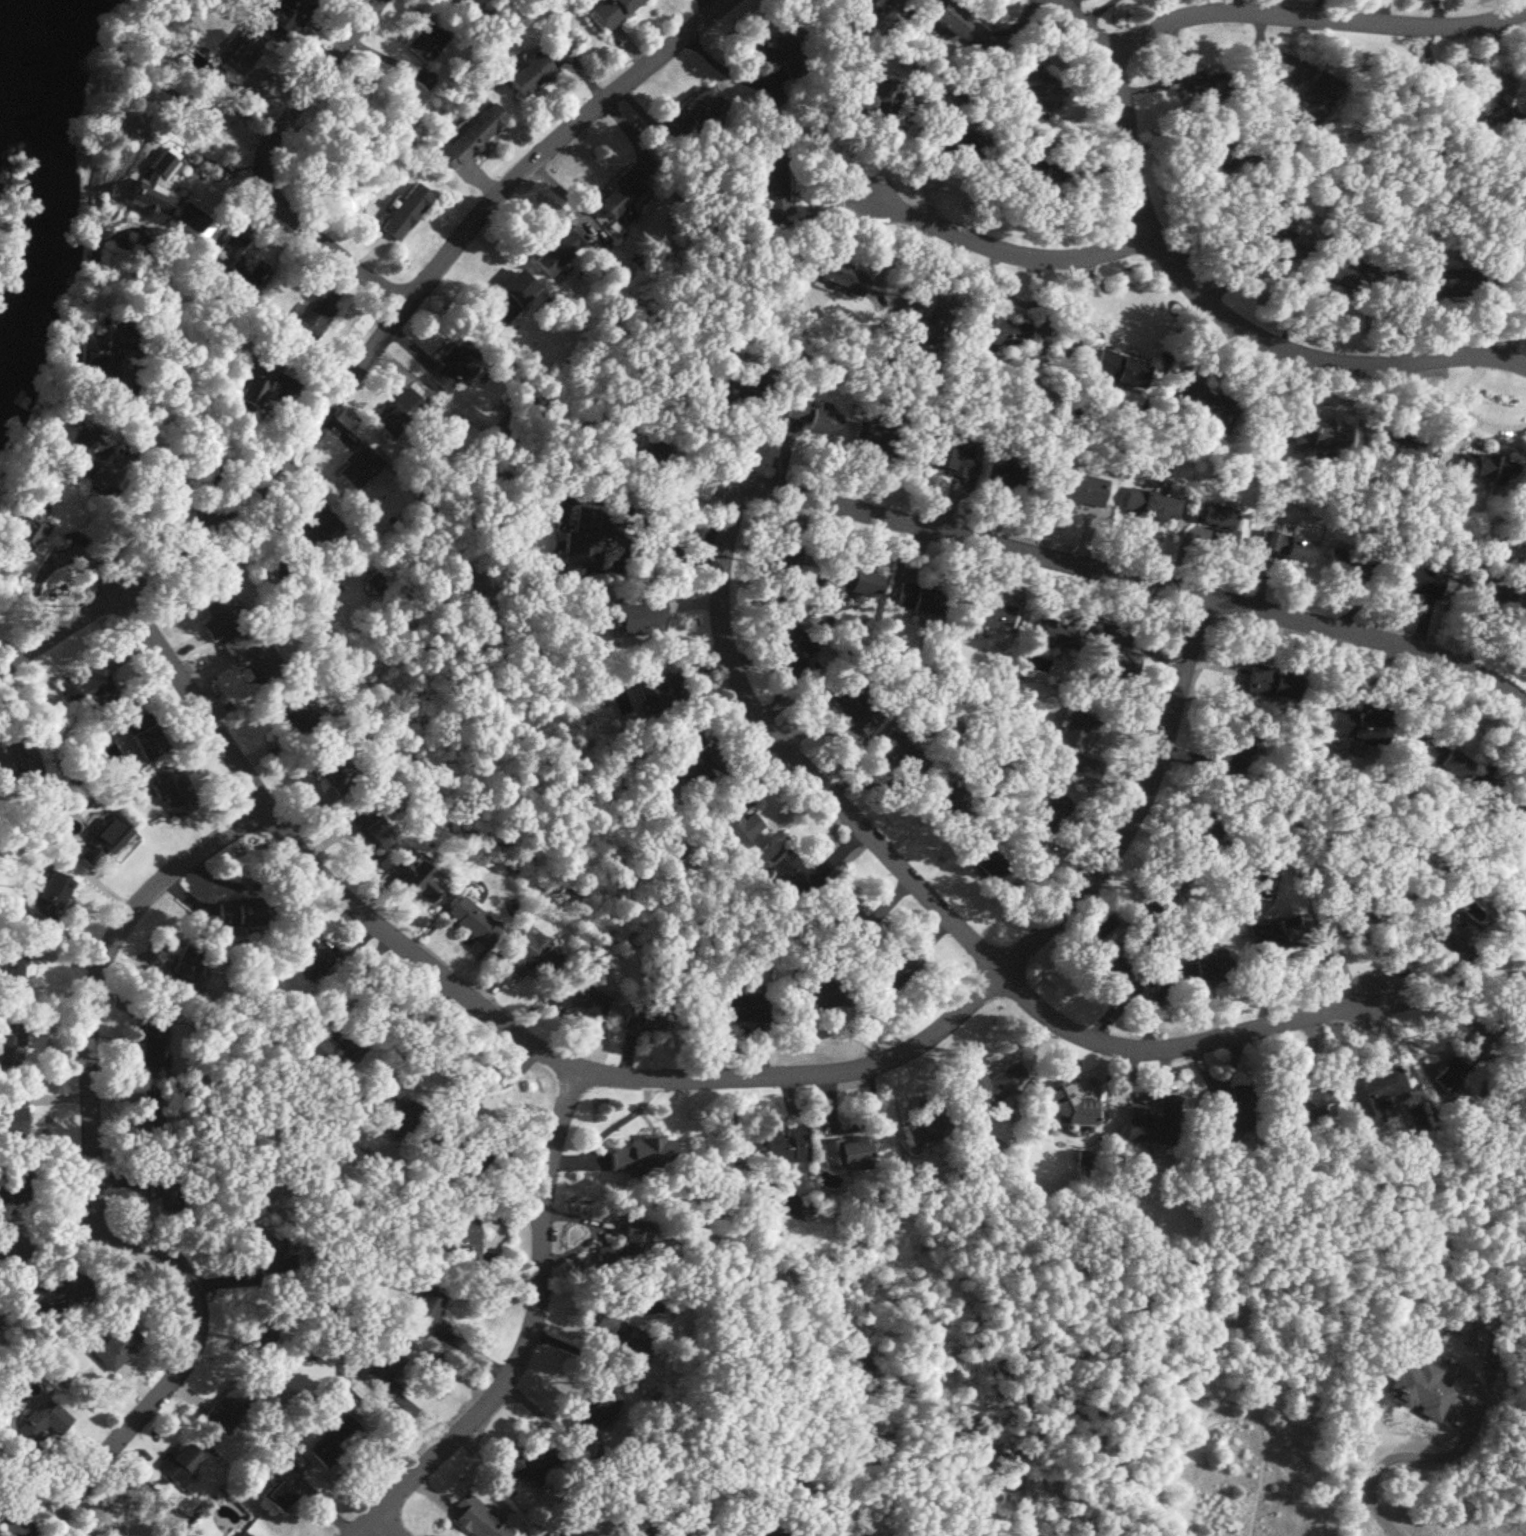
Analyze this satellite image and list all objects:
building: (871, 6)
building: (611, 11)
road: (1093, 12)
building: (284, 16)
road: (1315, 16)
building: (955, 25)
building: (425, 36)
river: (22, 37)
building: (780, 53)
building: (242, 57)
road: (727, 72)
building: (527, 74)
building: (425, 79)
building: (1202, 84)
building: (869, 88)
building: (1037, 89)
building: (1511, 94)
building: (1314, 99)
building: (1473, 107)
building: (695, 109)
building: (470, 137)
road: (561, 148)
building: (970, 152)
road: (259, 167)
building: (1034, 171)
road: (232, 178)
building: (772, 179)
building: (157, 191)
building: (621, 195)
building: (403, 213)
road: (995, 243)
building: (559, 250)
building: (1291, 255)
building: (237, 266)
building: (1346, 273)
building: (840, 276)
road: (1204, 293)
building: (508, 297)
building: (308, 323)
building: (995, 331)
building: (98, 354)
building: (452, 367)
building: (1119, 370)
building: (251, 384)
building: (745, 385)
building: (1203, 403)
building: (811, 418)
building: (389, 423)
building: (1319, 435)
building: (876, 439)
building: (87, 446)
building: (1395, 448)
road: (159, 454)
building: (947, 460)
building: (641, 465)
building: (1483, 467)
building: (359, 468)
building: (1004, 471)
building: (1080, 490)
building: (1149, 504)
road: (224, 514)
building: (1215, 517)
building: (25, 527)
building: (306, 527)
building: (580, 539)
building: (1272, 542)
road: (630, 544)
building: (1297, 549)
building: (1345, 567)
building: (782, 572)
building: (1418, 580)
building: (374, 581)
building: (852, 582)
road: (1147, 582)
building: (1481, 586)
building: (918, 597)
building: (215, 611)
building: (991, 613)
building: (636, 615)
building: (1053, 631)
building: (791, 645)
building: (1114, 653)
building: (1273, 681)
building: (276, 685)
building: (86, 686)
building: (655, 691)
building: (853, 705)
building: (1359, 725)
building: (144, 733)
building: (1077, 743)
building: (1236, 745)
building: (898, 754)
building: (688, 758)
building: (1442, 758)
building: (22, 770)
building: (171, 787)
building: (354, 802)
building: (948, 804)
building: (1504, 809)
building: (1046, 815)
building: (736, 819)
building: (102, 842)
building: (987, 864)
building: (417, 876)
building: (794, 876)
building: (1172, 884)
road: (927, 894)
building: (48, 900)
building: (241, 912)
building: (1355, 915)
building: (471, 922)
building: (847, 926)
building: (1274, 935)
building: (1450, 939)
building: (306, 951)
building: (525, 954)
building: (1107, 963)
building: (894, 969)
building: (1201, 972)
road: (356, 977)
road: (100, 987)
building: (819, 995)
building: (580, 1000)
road: (1436, 1001)
building: (743, 1008)
building: (644, 1018)
road: (420, 1026)
building: (11, 1042)
building: (152, 1043)
building: (329, 1057)
building: (1459, 1064)
road: (687, 1075)
building: (994, 1086)
road: (483, 1087)
building: (1372, 1094)
building: (1296, 1100)
building: (1070, 1106)
building: (1233, 1113)
building: (924, 1122)
building: (1155, 1122)
building: (12, 1123)
building: (152, 1127)
building: (785, 1146)
building: (847, 1150)
building: (641, 1154)
building: (152, 1180)
building: (6, 1196)
building: (462, 1236)
building: (627, 1244)
building: (272, 1253)
building: (52, 1295)
building: (426, 1314)
road: (197, 1327)
road: (530, 1332)
building: (260, 1334)
building: (625, 1340)
building: (115, 1344)
building: (384, 1369)
building: (228, 1405)
building: (598, 1408)
building: (40, 1423)
building: (336, 1441)
road: (1392, 1456)
building: (178, 1463)
building: (533, 1464)
building: (281, 1489)
building: (478, 1518)
road: (385, 1526)
building: (659, 1528)
building: (758, 1530)
building: (240, 1533)
building: (574, 1534)
building: (849, 1535)

